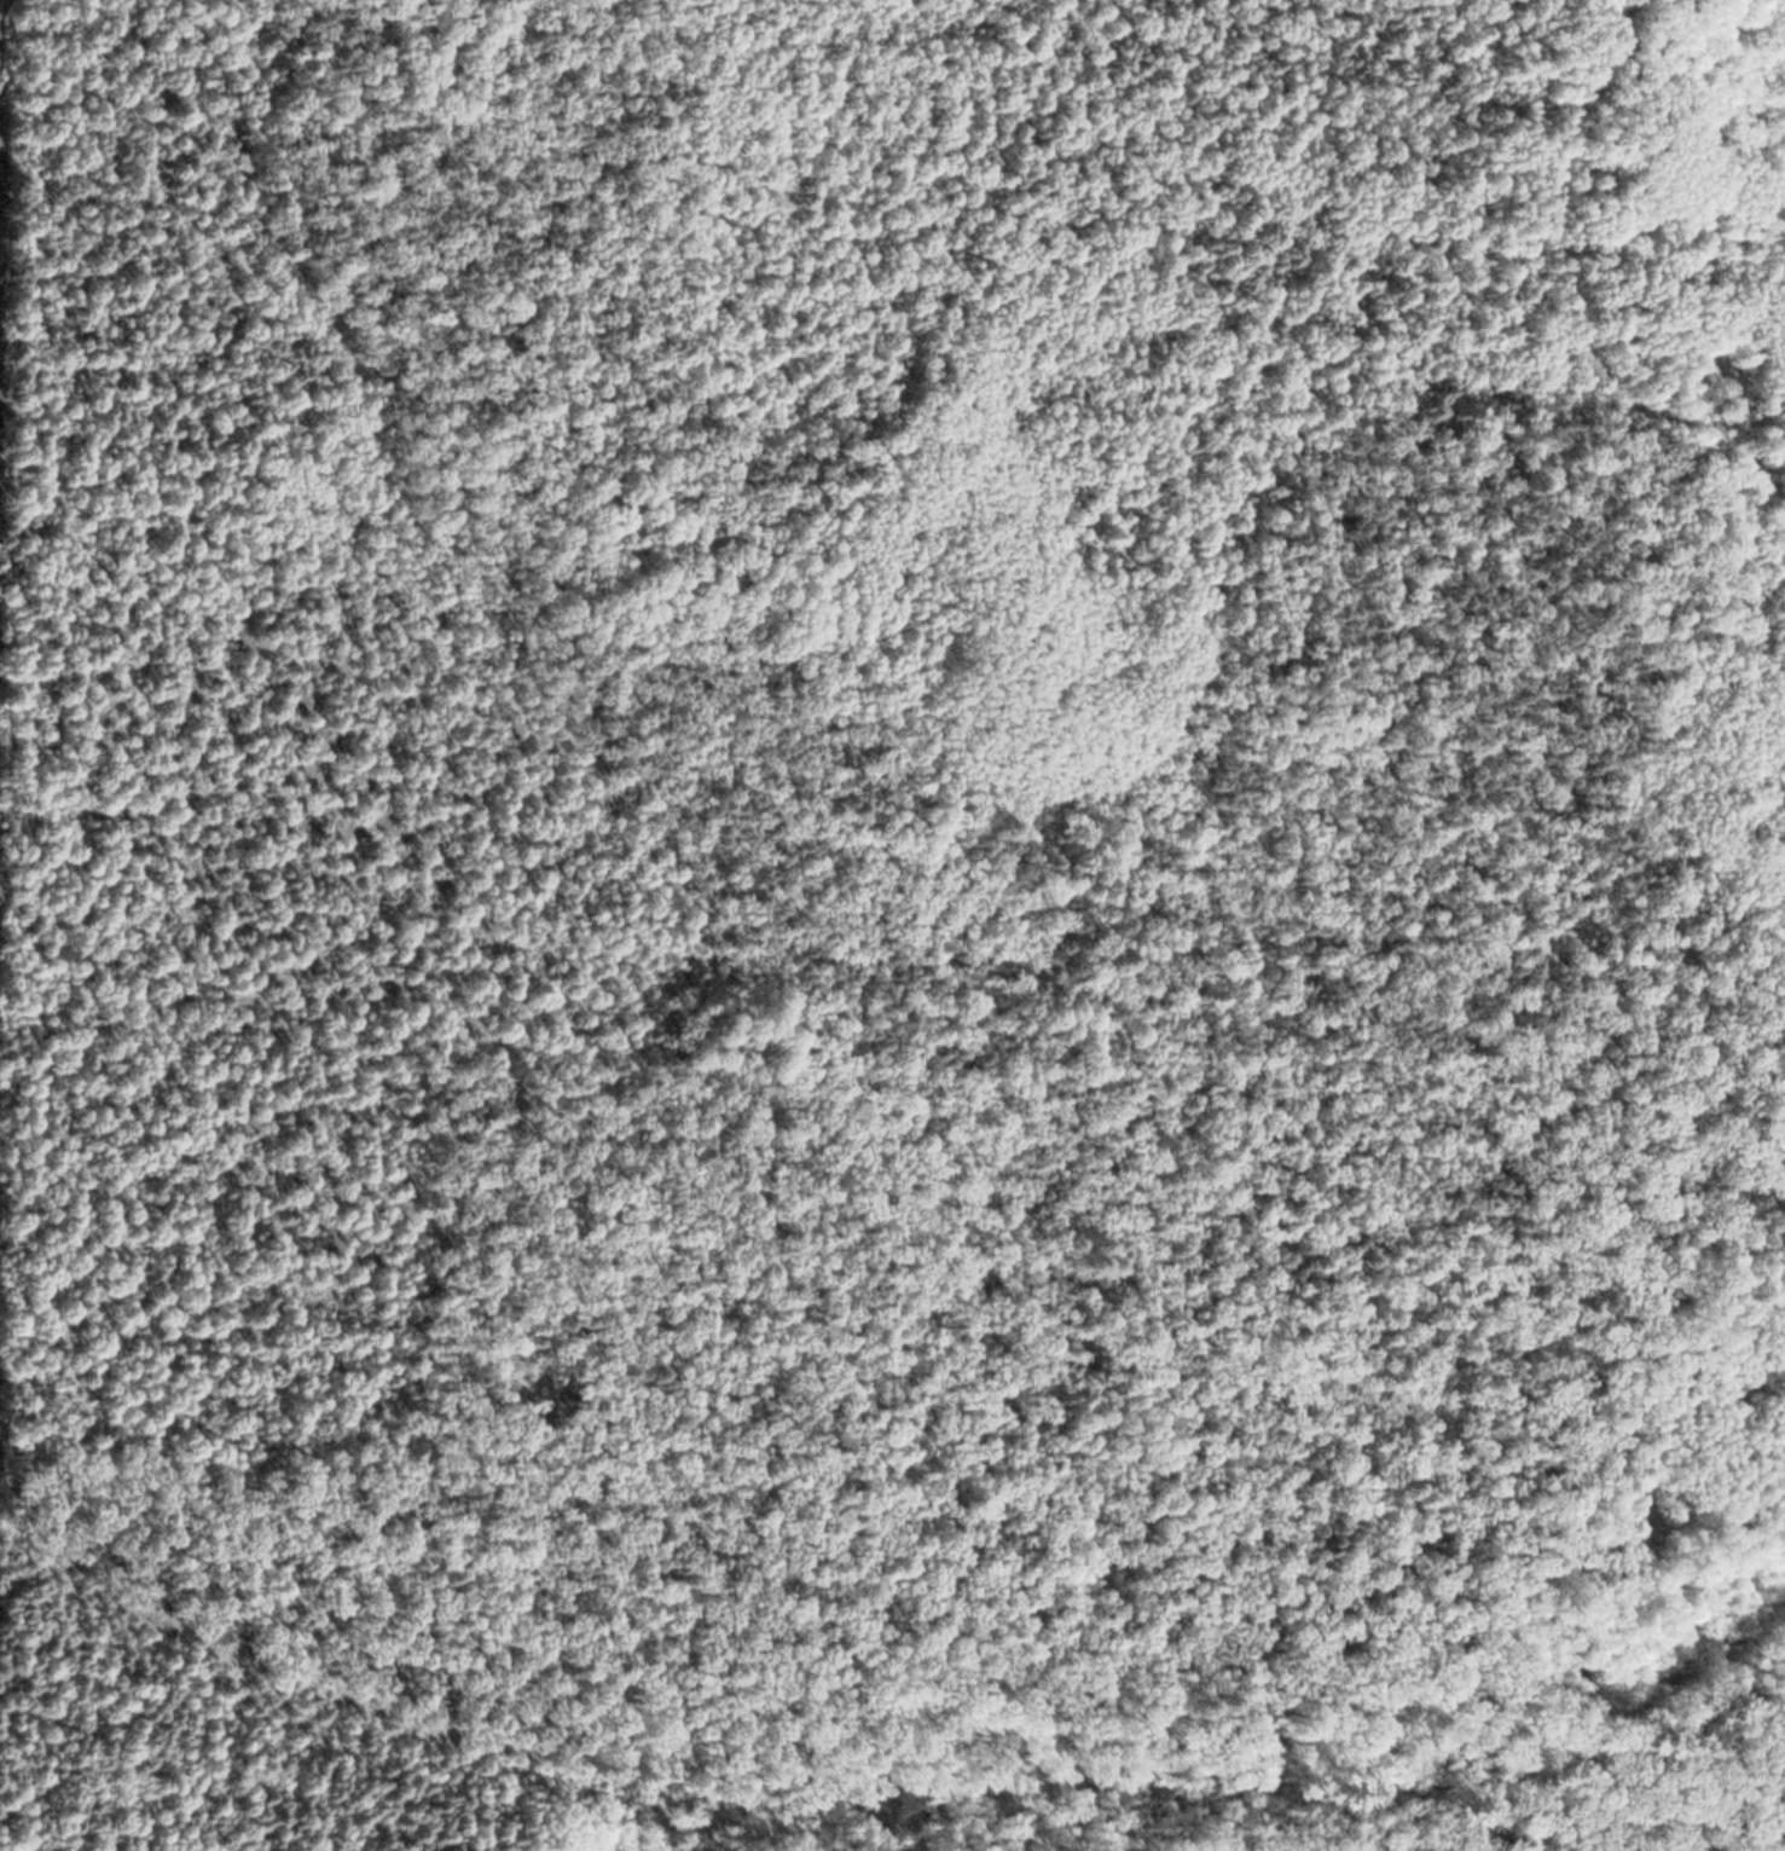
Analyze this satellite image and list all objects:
road: (1572, 299)

